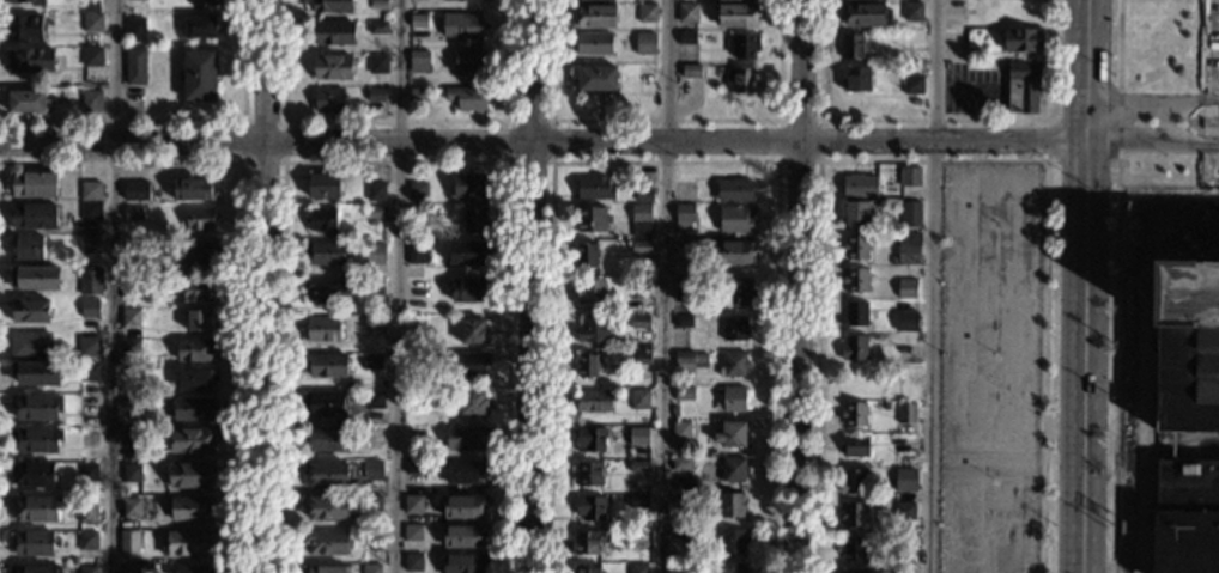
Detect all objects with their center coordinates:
building: (588, 0)
building: (10, 1)
building: (36, 2)
building: (201, 2)
building: (377, 2)
building: (87, 5)
building: (329, 5)
building: (645, 12)
building: (686, 12)
building: (911, 12)
building: (861, 13)
building: (736, 16)
building: (594, 17)
building: (418, 20)
building: (91, 23)
building: (199, 25)
building: (461, 25)
building: (134, 26)
building: (22, 28)
building: (376, 28)
building: (330, 32)
building: (686, 38)
building: (1021, 39)
building: (644, 42)
building: (590, 43)
building: (741, 45)
building: (850, 47)
building: (90, 56)
building: (30, 59)
building: (467, 61)
building: (418, 62)
building: (375, 63)
building: (133, 66)
building: (332, 66)
building: (690, 72)
building: (196, 74)
building: (645, 75)
building: (595, 78)
building: (856, 78)
building: (739, 80)
building: (912, 85)
building: (1021, 86)
parking lot: (971, 89)
road: (964, 90)
building: (893, 92)
building: (374, 95)
building: (417, 95)
building: (465, 97)
building: (327, 99)
building: (25, 100)
building: (90, 100)
road: (1154, 104)
road: (665, 118)
road: (780, 118)
road: (933, 118)
road: (1081, 118)
road: (181, 120)
road: (396, 120)
road: (1047, 139)
road: (544, 140)
road: (1153, 140)
road: (509, 160)
road: (665, 160)
road: (1081, 160)
road: (396, 161)
road: (933, 161)
road: (242, 163)
building: (909, 177)
building: (31, 185)
building: (321, 185)
building: (467, 185)
building: (857, 187)
building: (593, 188)
building: (192, 189)
building: (733, 189)
building: (89, 190)
building: (134, 190)
building: (374, 191)
building: (416, 191)
building: (642, 195)
building: (89, 211)
building: (417, 211)
building: (131, 213)
building: (910, 213)
building: (30, 214)
building: (856, 214)
building: (372, 215)
building: (198, 218)
building: (683, 218)
building: (472, 219)
building: (590, 219)
building: (734, 220)
building: (320, 221)
building: (641, 221)
building: (89, 244)
road: (241, 246)
building: (24, 248)
building: (128, 248)
building: (639, 248)
building: (854, 248)
building: (374, 249)
building: (680, 250)
building: (416, 251)
building: (466, 251)
building: (730, 252)
building: (194, 254)
building: (325, 254)
building: (586, 255)
building: (908, 255)
building: (34, 279)
building: (855, 280)
building: (90, 281)
building: (638, 285)
road: (109, 286)
road: (265, 286)
road: (396, 286)
road: (529, 286)
road: (662, 286)
road: (799, 286)
road: (932, 286)
road: (1086, 286)
road: (1116, 286)
building: (374, 287)
building: (414, 288)
building: (905, 288)
building: (131, 289)
building: (466, 289)
building: (684, 289)
building: (198, 291)
building: (326, 291)
building: (590, 292)
building: (736, 293)
building: (89, 309)
building: (29, 311)
building: (853, 315)
building: (128, 317)
building: (196, 319)
building: (638, 322)
building: (681, 322)
building: (905, 322)
building: (371, 323)
building: (413, 328)
building: (321, 329)
building: (733, 329)
building: (472, 331)
building: (592, 331)
building: (29, 346)
building: (89, 346)
building: (128, 346)
building: (1188, 346)
building: (853, 348)
building: (194, 349)
building: (413, 359)
building: (639, 359)
road: (1145, 359)
building: (687, 360)
building: (369, 361)
building: (465, 364)
building: (325, 365)
building: (586, 366)
building: (732, 366)
parking lot: (990, 367)
building: (85, 371)
building: (35, 374)
building: (194, 378)
building: (683, 394)
building: (371, 400)
building: (413, 400)
building: (638, 400)
building: (732, 400)
building: (592, 401)
building: (127, 403)
building: (323, 403)
building: (471, 403)
building: (35, 407)
building: (192, 408)
building: (905, 414)
building: (853, 415)
building: (679, 431)
building: (412, 433)
building: (732, 434)
building: (637, 437)
building: (86, 438)
building: (463, 438)
building: (34, 439)
building: (131, 439)
building: (326, 439)
building: (188, 440)
building: (589, 440)
road: (1172, 445)
road: (1181, 445)
building: (853, 446)
building: (904, 459)
building: (679, 463)
building: (637, 467)
building: (411, 469)
building: (371, 470)
building: (732, 470)
building: (86, 471)
building: (129, 473)
building: (463, 473)
building: (30, 474)
building: (323, 474)
building: (587, 474)
building: (188, 475)
building: (904, 480)
building: (851, 482)
building: (680, 501)
building: (637, 502)
building: (370, 504)
building: (411, 505)
building: (729, 505)
building: (462, 506)
building: (129, 507)
building: (325, 507)
building: (34, 508)
building: (189, 508)
building: (588, 508)
building: (84, 510)
building: (904, 512)
building: (851, 516)
building: (1185, 517)
building: (411, 532)
building: (679, 534)
building: (461, 535)
building: (370, 537)
building: (637, 537)
building: (85, 541)
building: (730, 541)
building: (325, 542)
building: (586, 542)
building: (31, 543)
building: (127, 543)
building: (186, 543)
building: (851, 548)
building: (72, 561)
building: (462, 562)
building: (411, 563)
building: (679, 567)
building: (32, 568)
building: (127, 568)
building: (322, 568)
building: (369, 568)
building: (636, 568)
building: (727, 568)
building: (85, 569)
building: (189, 569)
building: (586, 569)
building: (851, 571)

